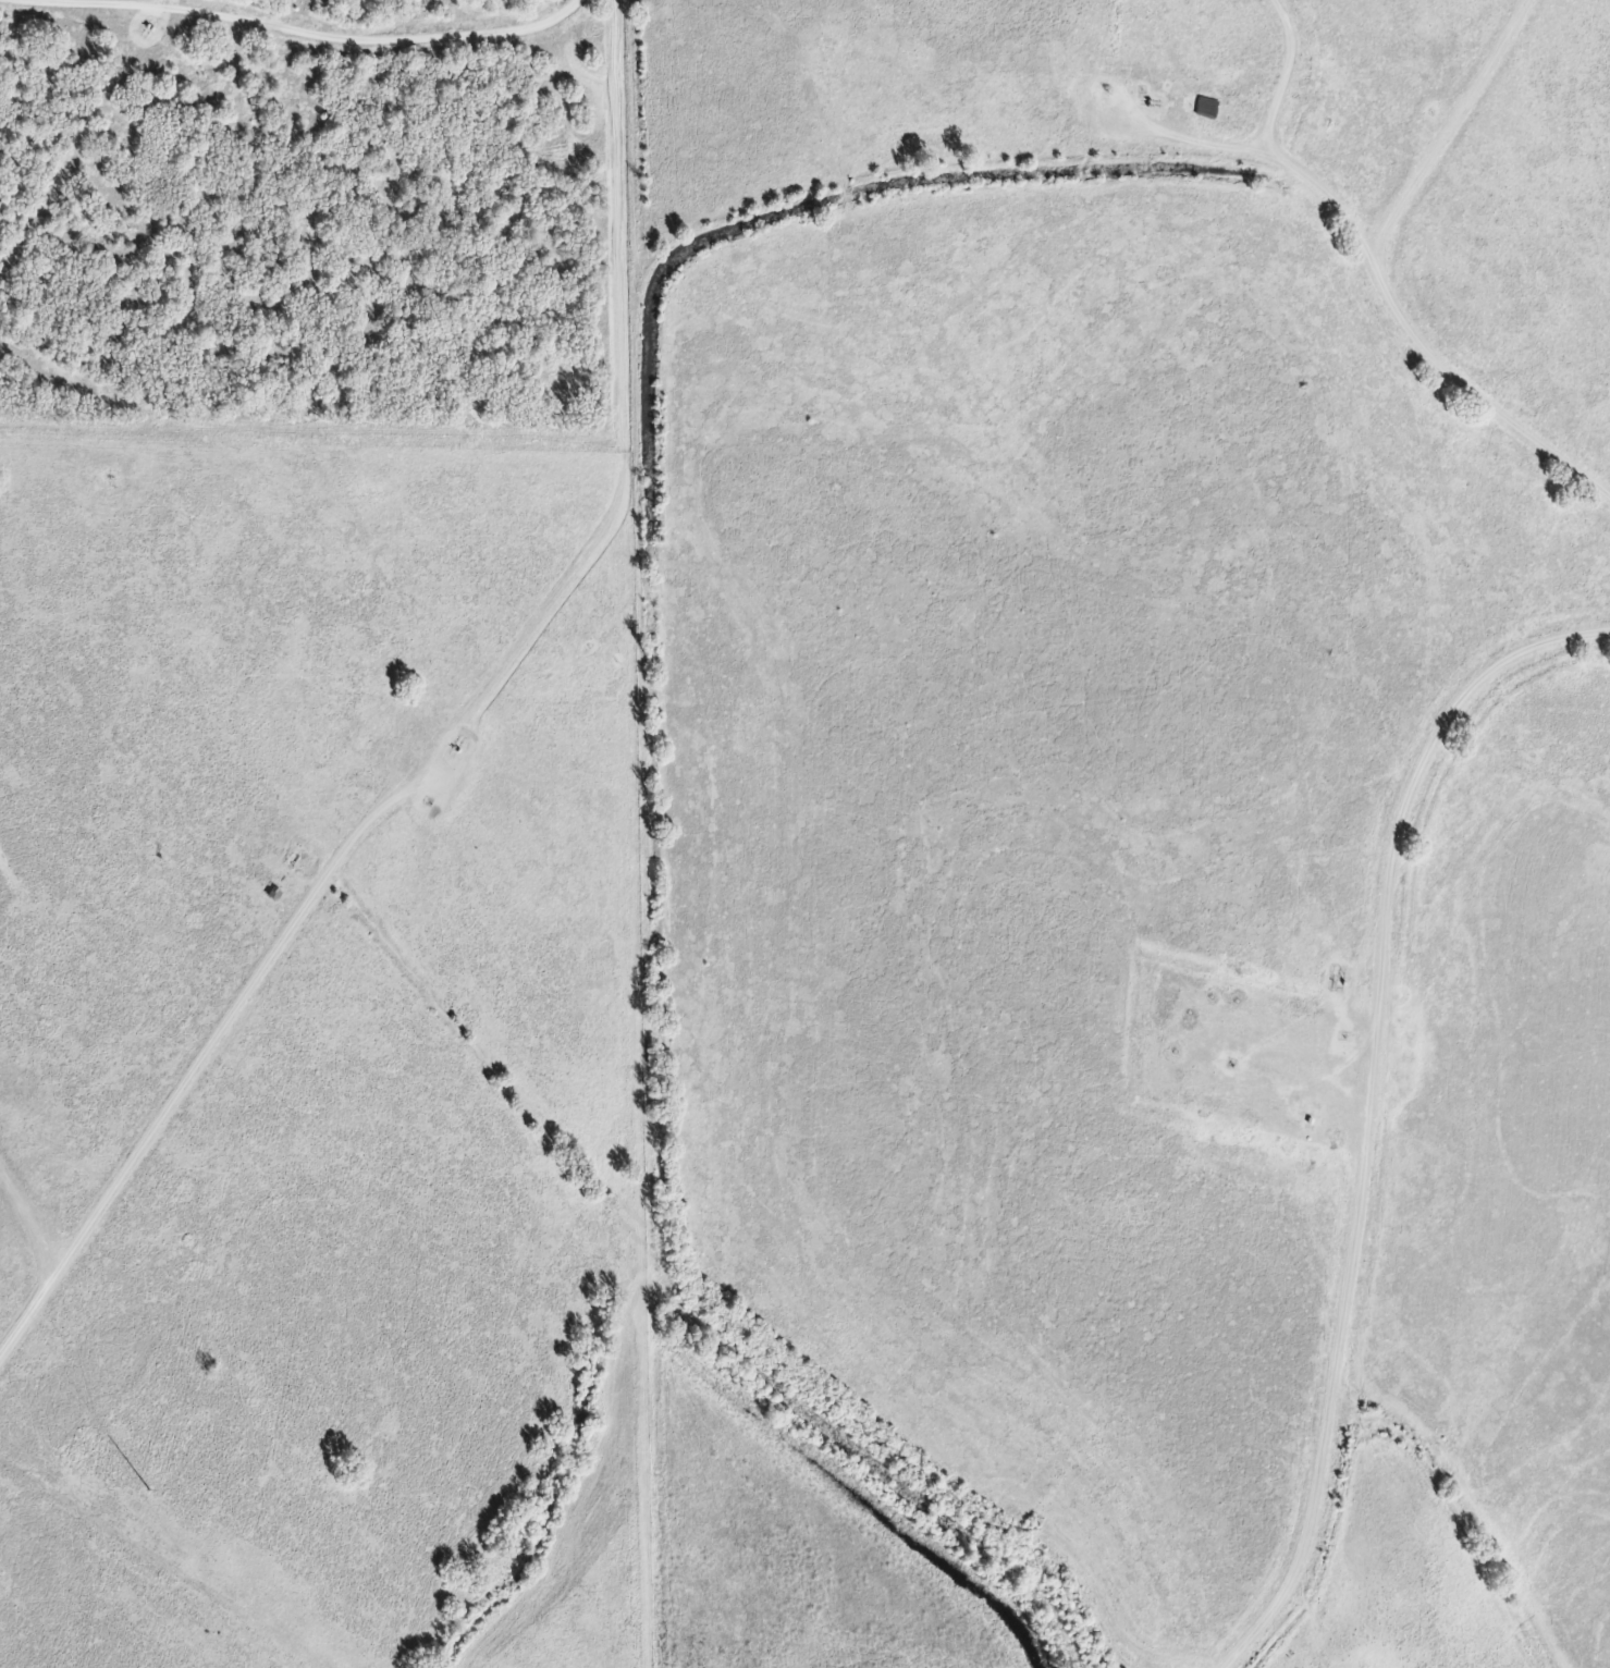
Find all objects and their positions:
road: (130, 10)
road: (1380, 272)
road: (207, 1047)
road: (1374, 1104)

